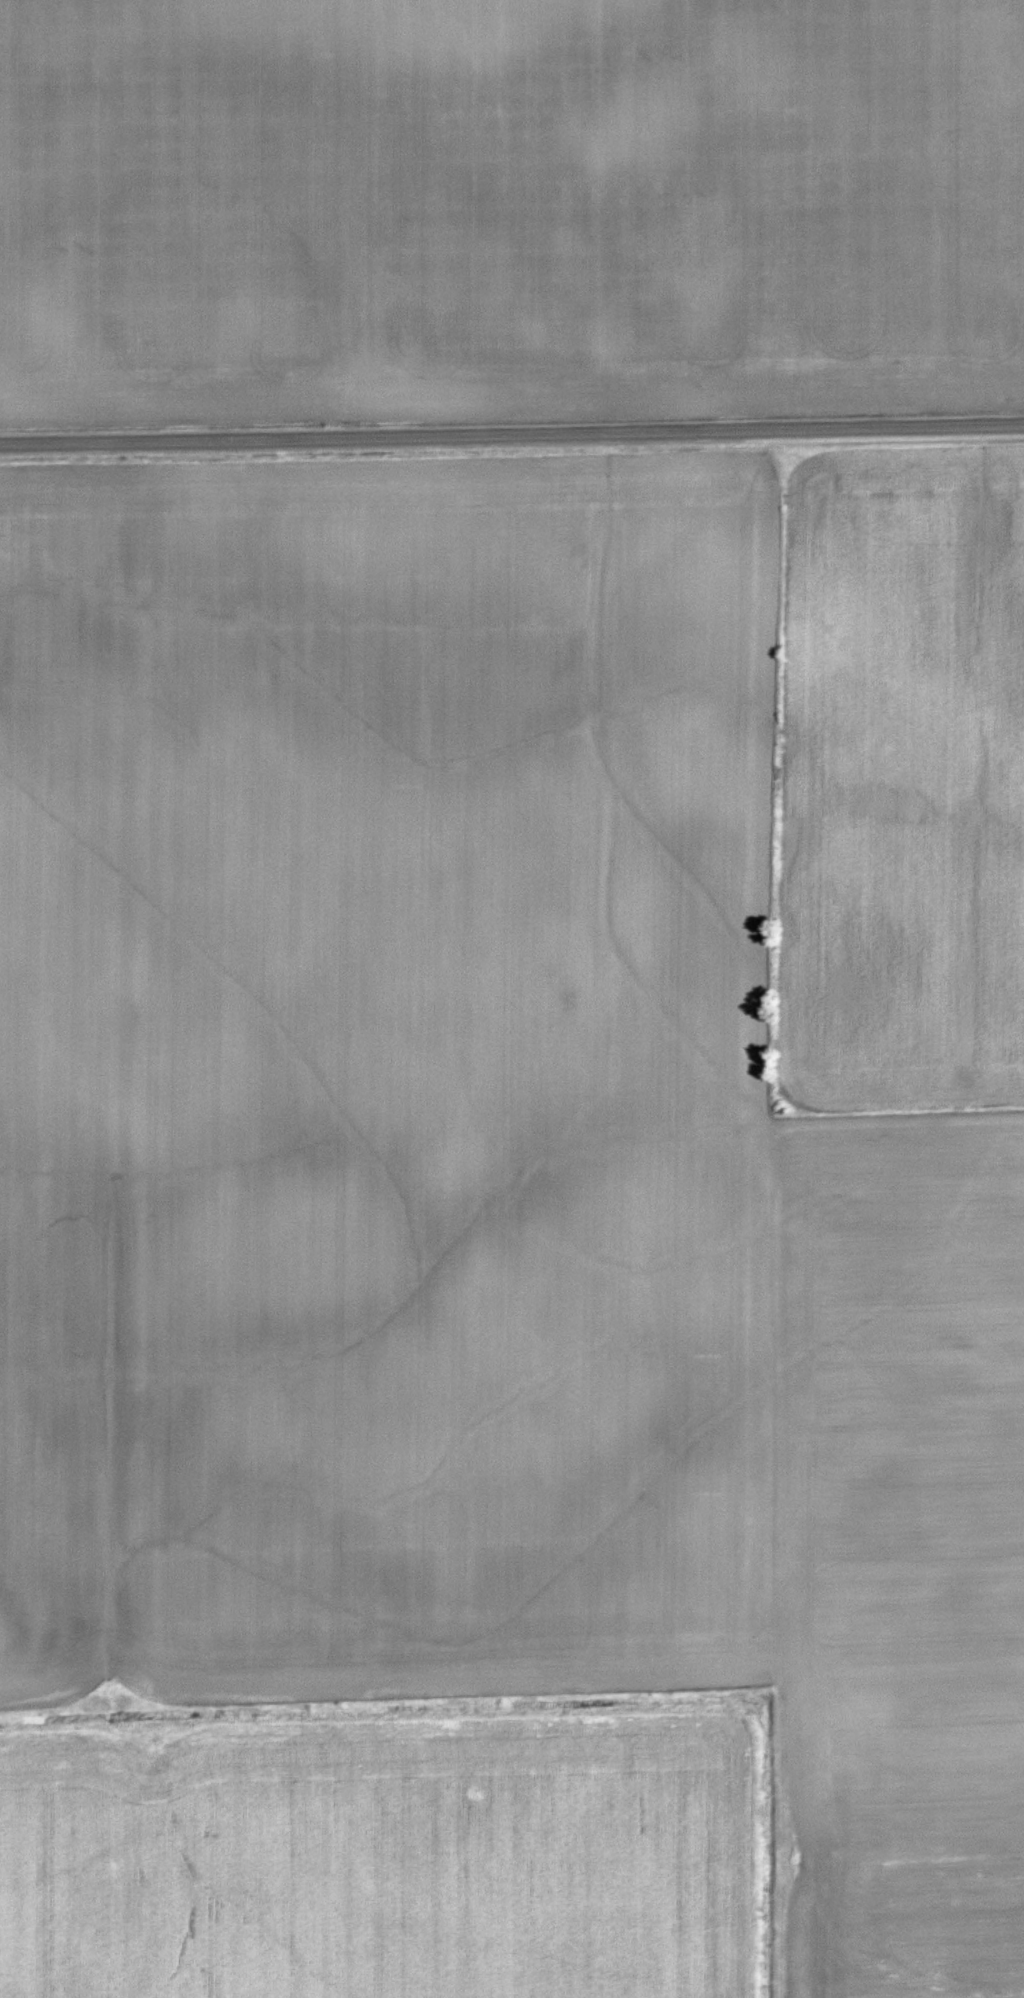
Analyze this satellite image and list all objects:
road: (512, 437)

